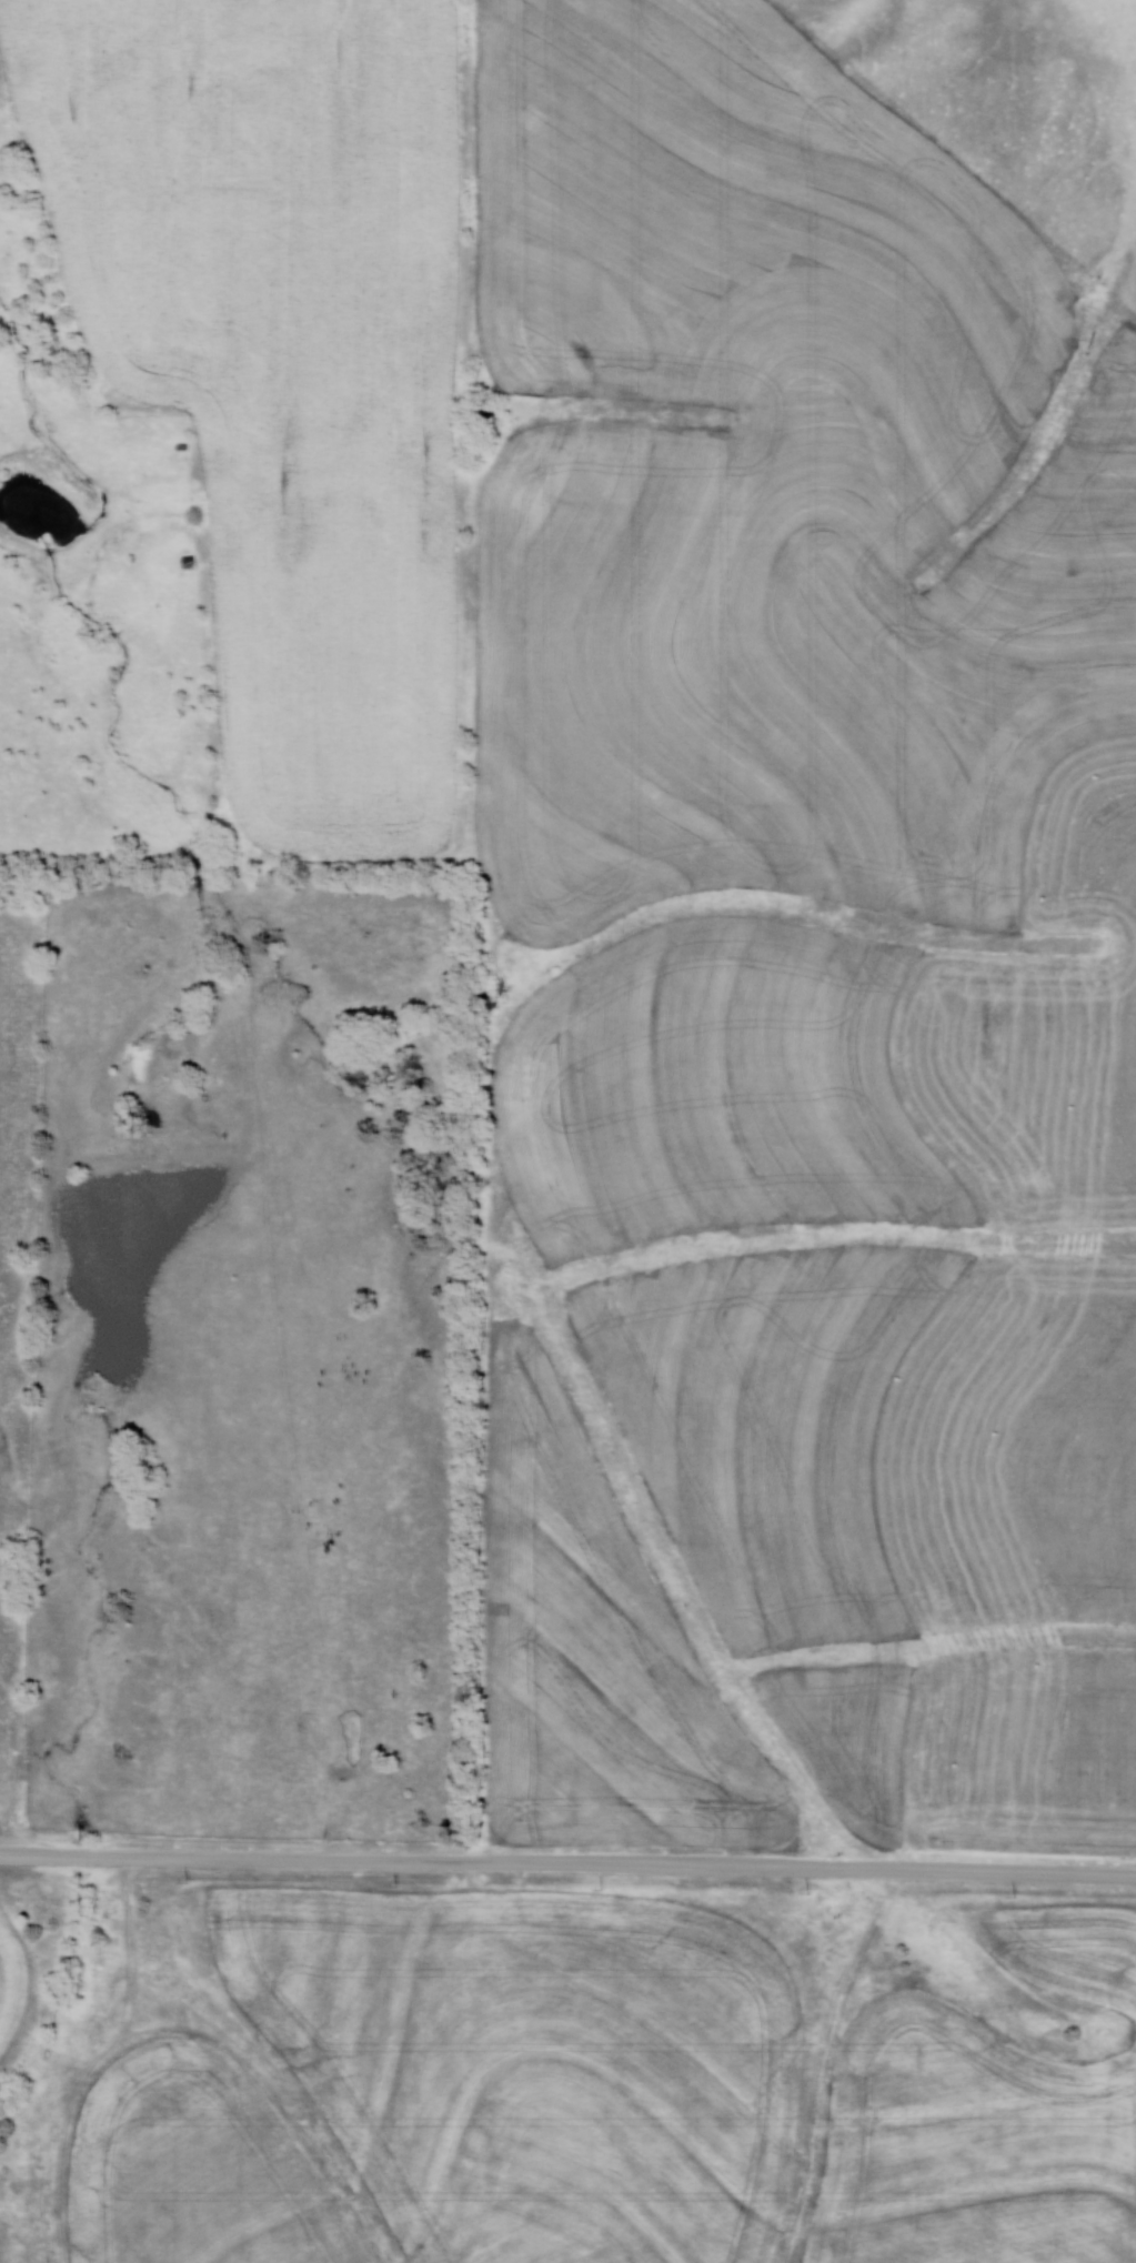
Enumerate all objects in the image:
road: (567, 1867)

